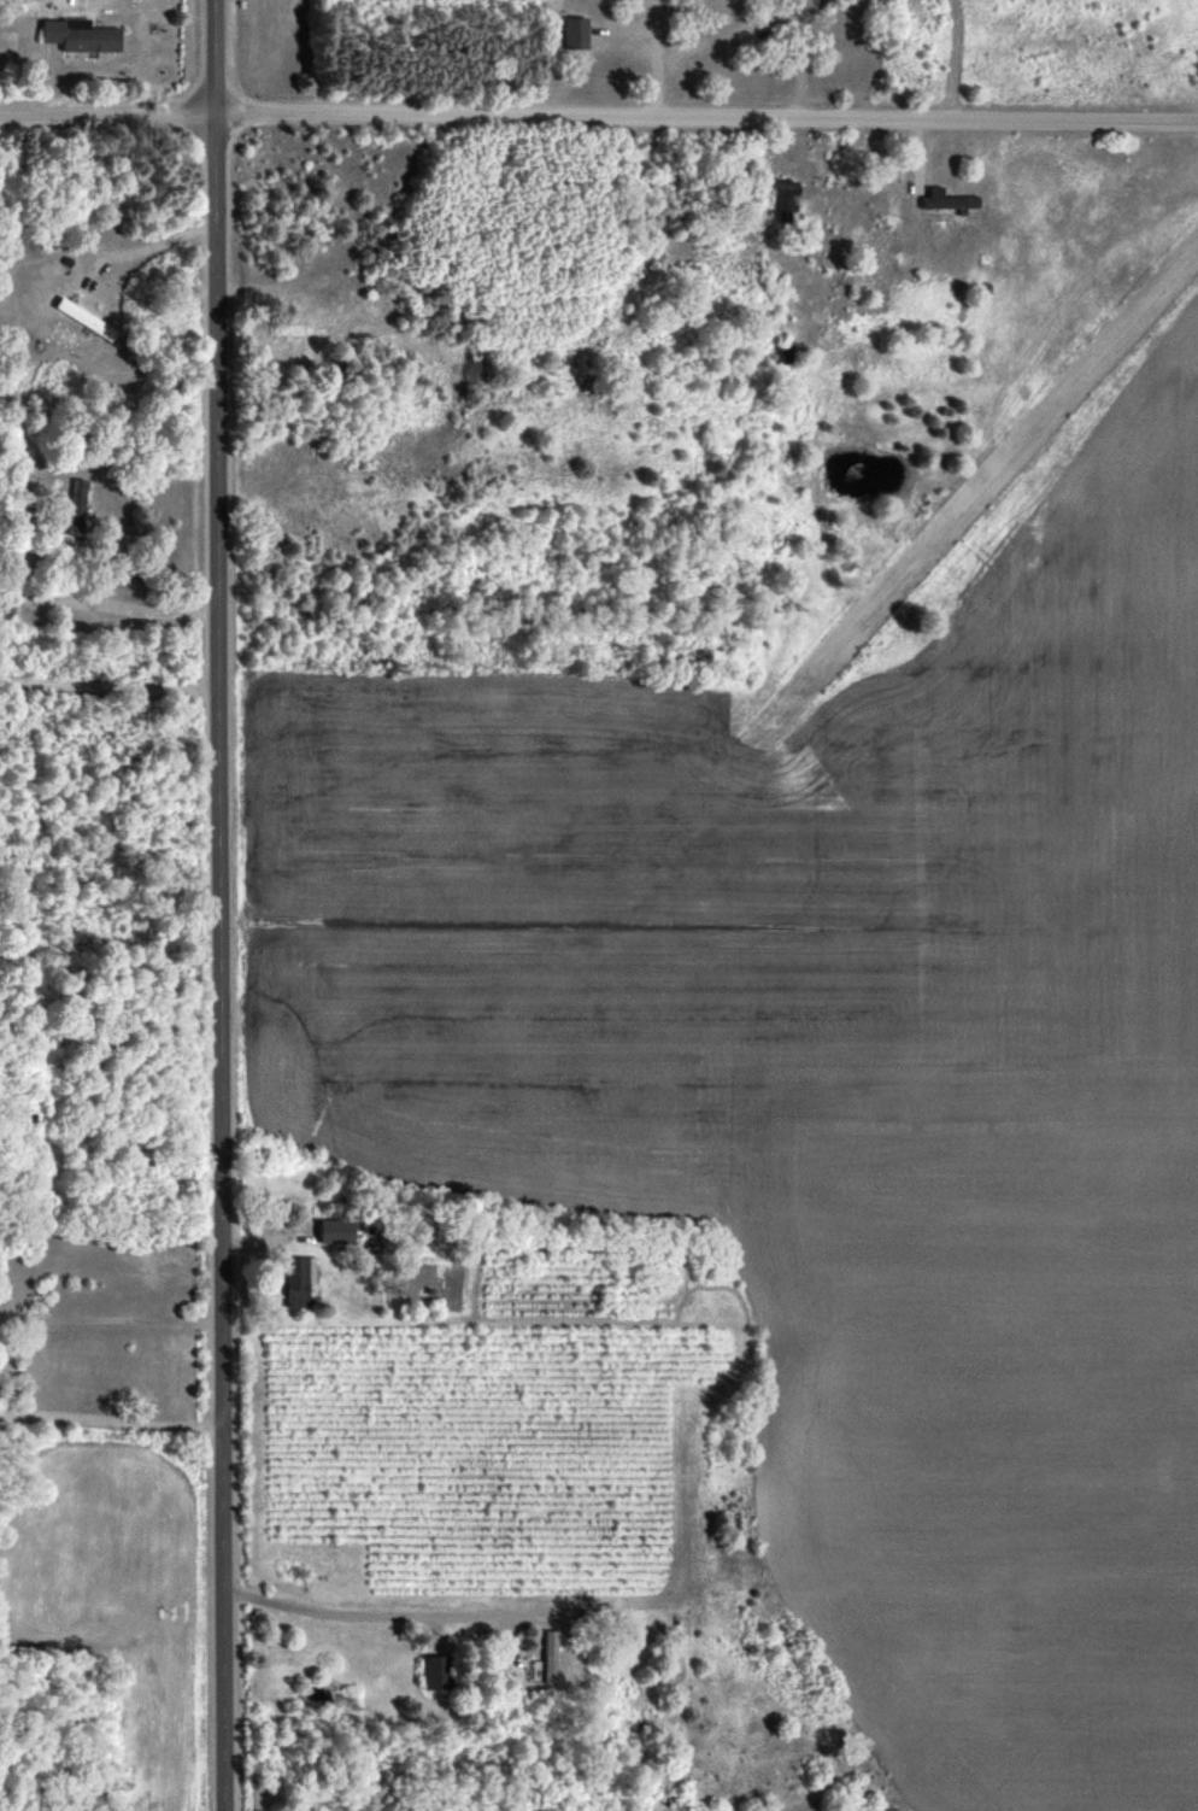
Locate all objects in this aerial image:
building: (575, 31)
building: (80, 34)
road: (599, 116)
building: (785, 198)
building: (947, 199)
building: (76, 508)
road: (118, 604)
road: (108, 686)
road: (219, 905)
building: (335, 1230)
road: (111, 1423)
road: (383, 1613)
building: (548, 1654)
building: (433, 1670)

